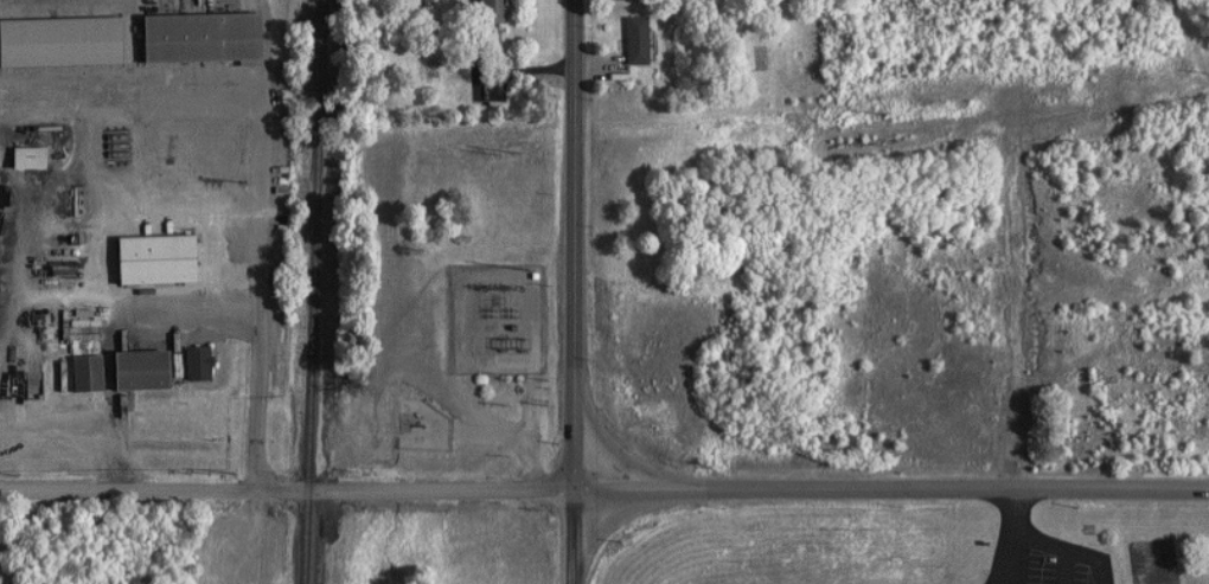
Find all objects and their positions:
building: (482, 11)
building: (188, 38)
building: (626, 40)
building: (56, 41)
road: (492, 81)
building: (17, 158)
road: (155, 163)
road: (126, 187)
road: (95, 192)
road: (570, 240)
building: (164, 244)
railway: (308, 291)
road: (197, 303)
building: (187, 364)
building: (77, 371)
building: (127, 371)
road: (1, 419)
road: (84, 424)
road: (286, 488)
road: (889, 496)
road: (571, 533)
road: (1018, 544)
road: (1009, 564)

